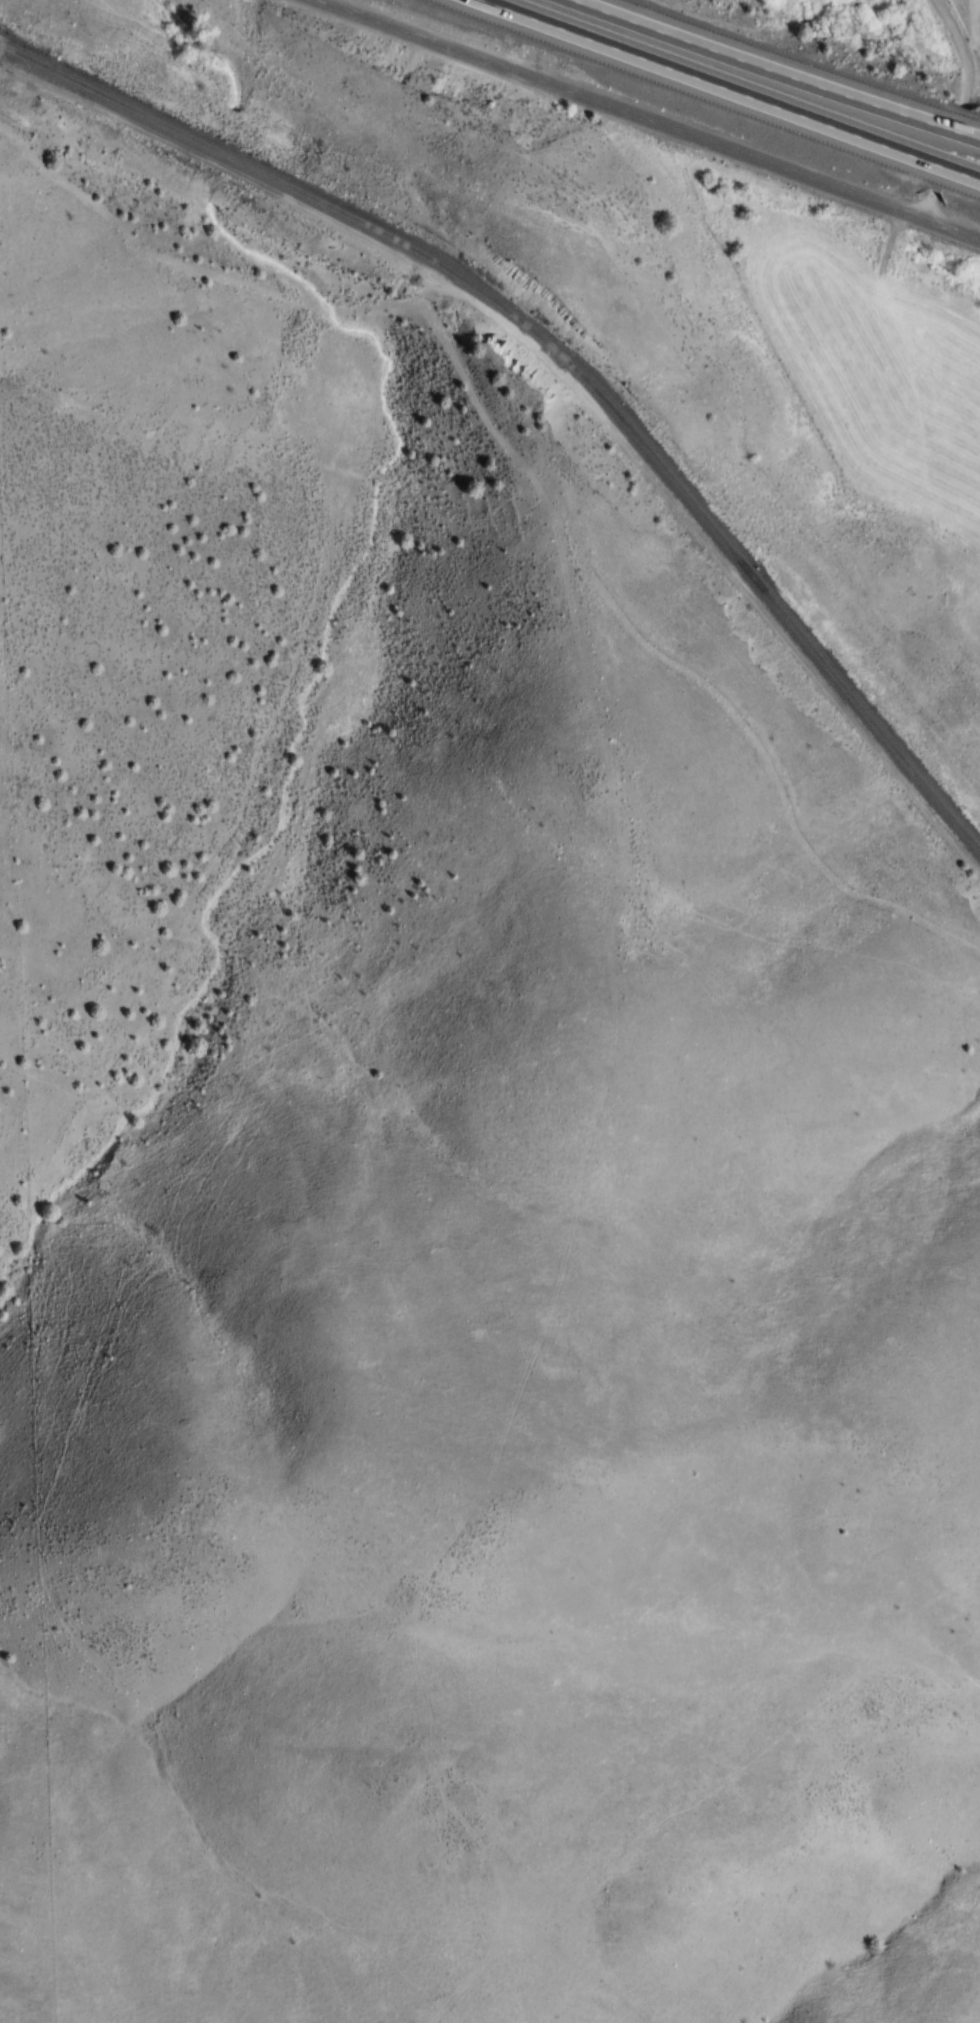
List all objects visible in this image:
road: (962, 49)
road: (786, 66)
road: (738, 84)
road: (646, 118)
road: (928, 203)
railway: (561, 363)

